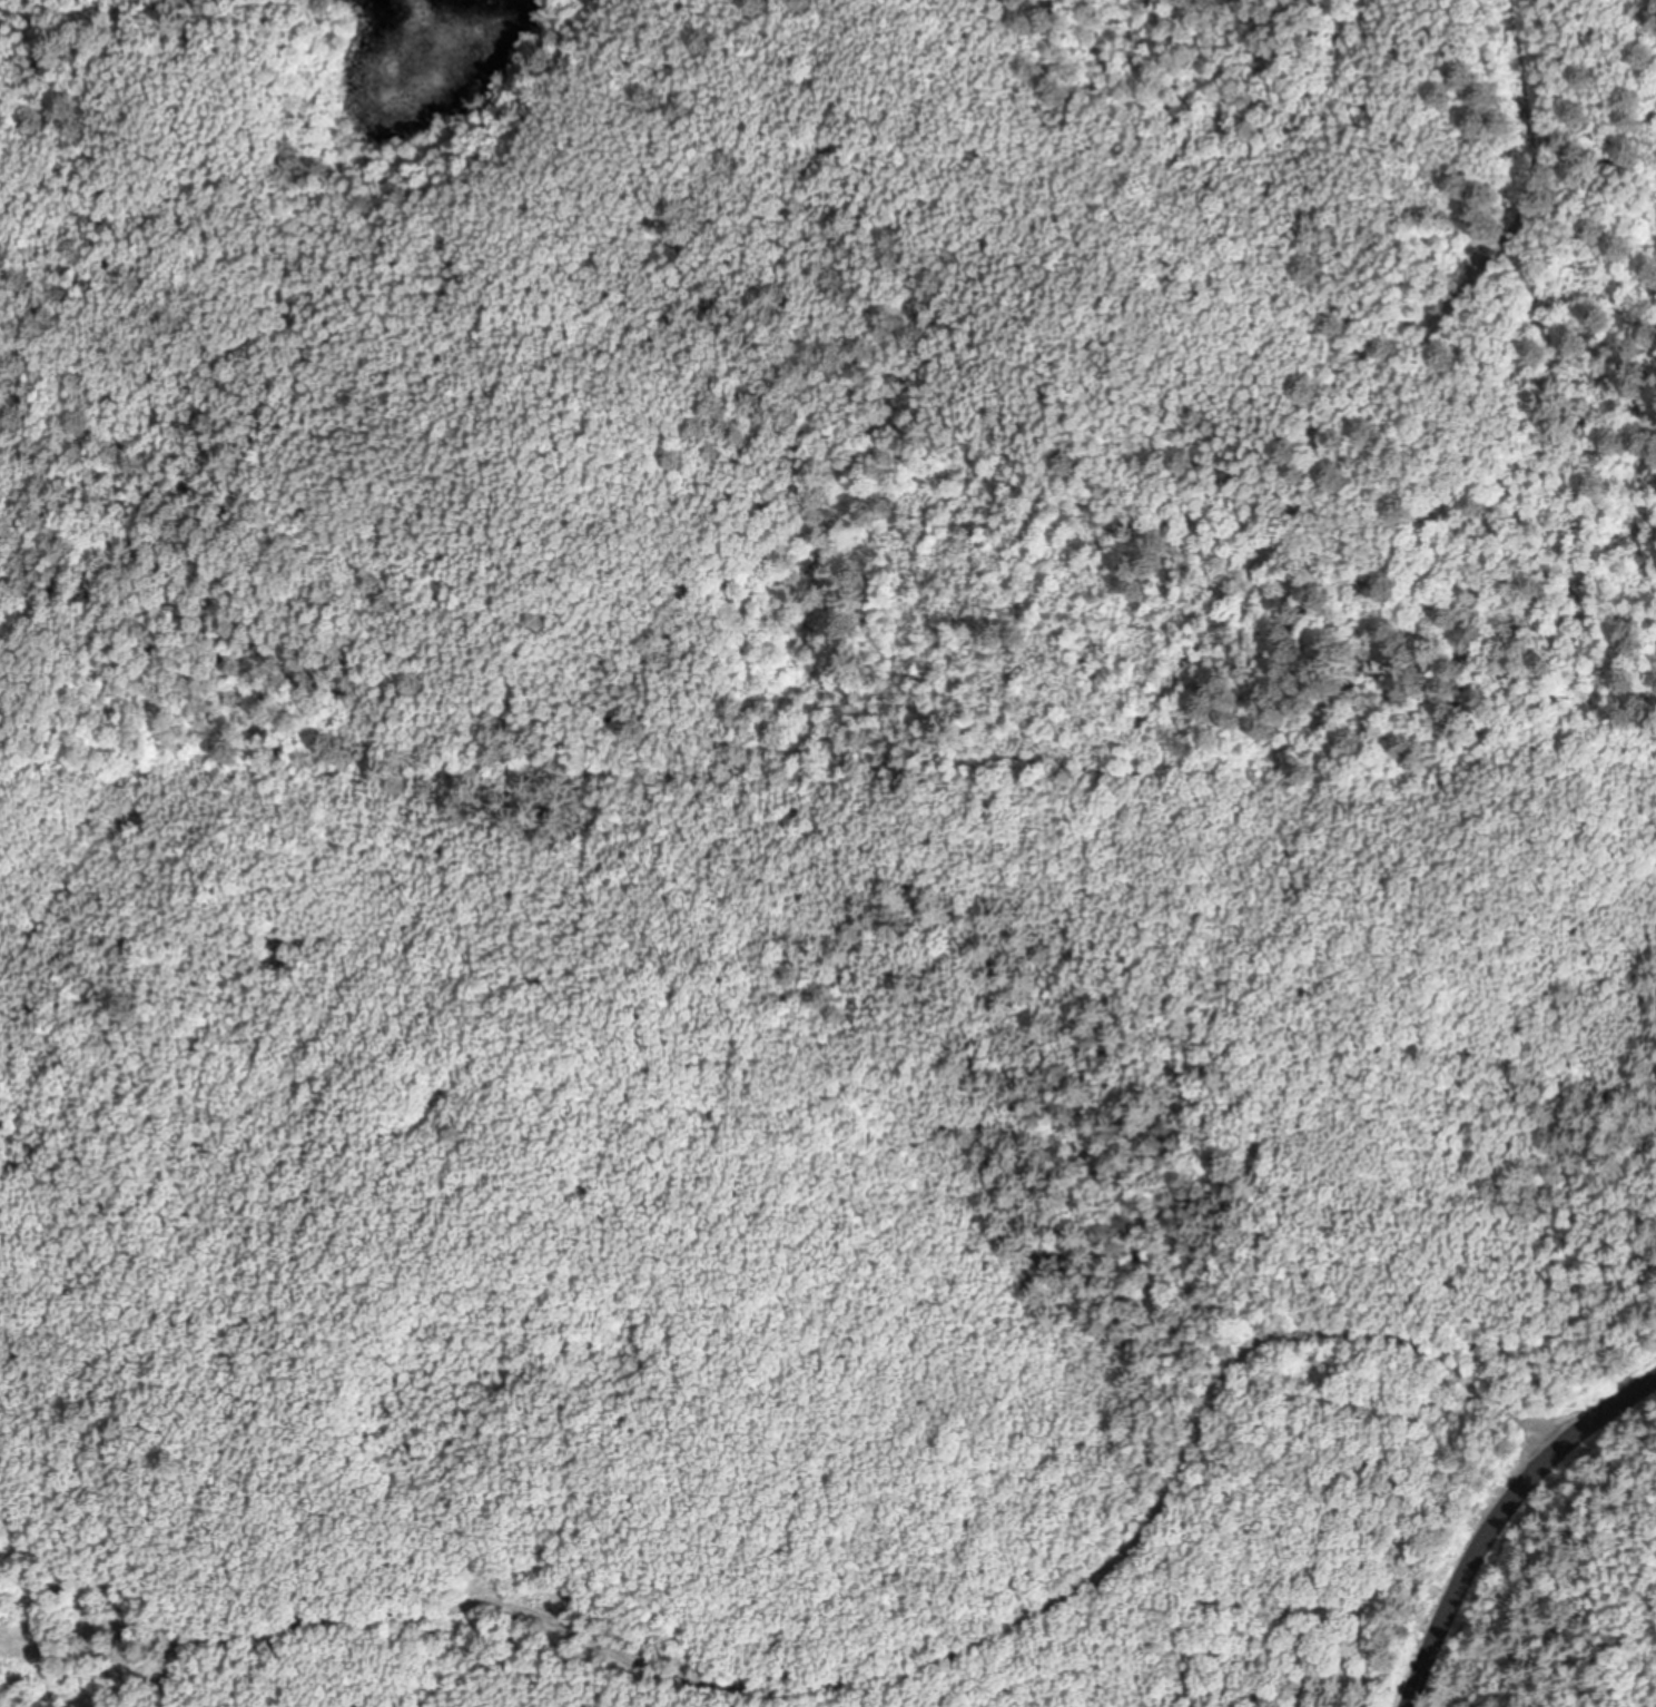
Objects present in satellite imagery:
road: (1527, 174)
road: (1500, 1514)

